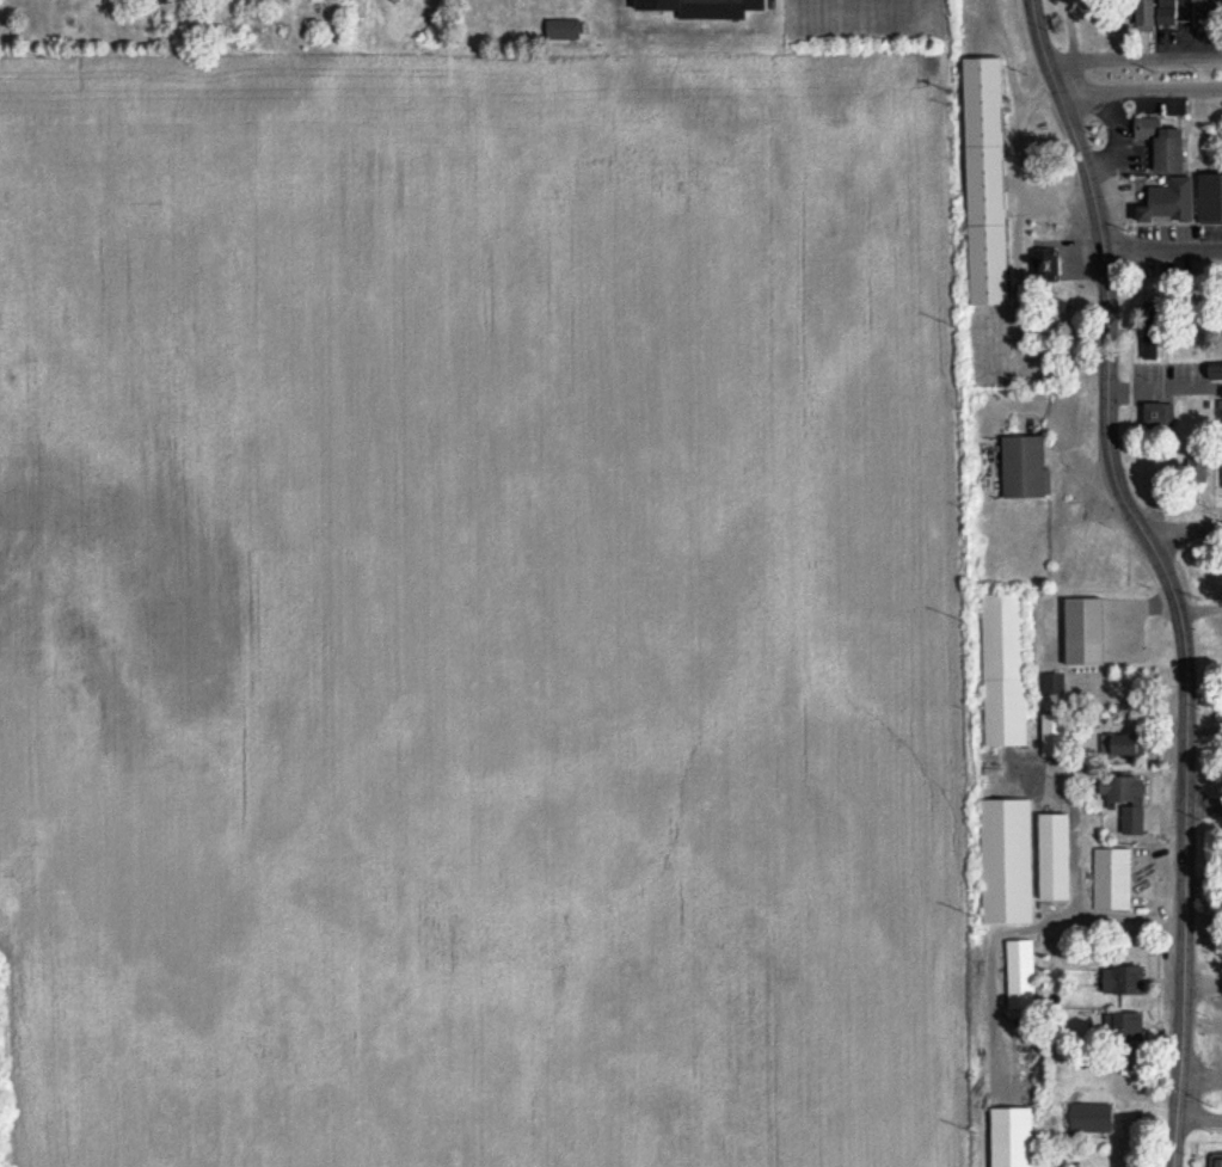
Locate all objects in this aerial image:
building: (342, 0)
building: (1200, 0)
building: (706, 7)
building: (1169, 11)
building: (1152, 14)
building: (564, 29)
road: (1132, 65)
road: (1137, 97)
building: (1166, 141)
building: (989, 179)
building: (1211, 196)
building: (1172, 199)
road: (1160, 253)
building: (1044, 264)
building: (1155, 321)
building: (1217, 369)
building: (1160, 414)
building: (1027, 466)
road: (1179, 529)
road: (1161, 573)
crop: (475, 613)
building: (1088, 631)
building: (1005, 668)
building: (1054, 682)
building: (1056, 733)
building: (1125, 744)
building: (1129, 799)
road: (1202, 812)
building: (1057, 855)
building: (1008, 860)
building: (1113, 878)
building: (1021, 973)
building: (1126, 979)
building: (1126, 1026)
road: (1193, 1088)
building: (1094, 1117)
road: (1193, 1122)
building: (1012, 1136)
building: (1206, 1160)

